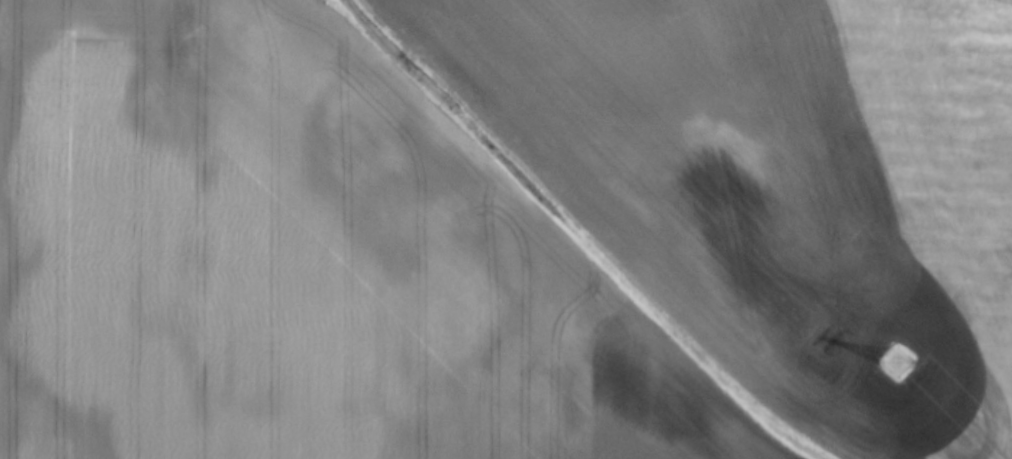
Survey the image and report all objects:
power tower: (891, 360)

